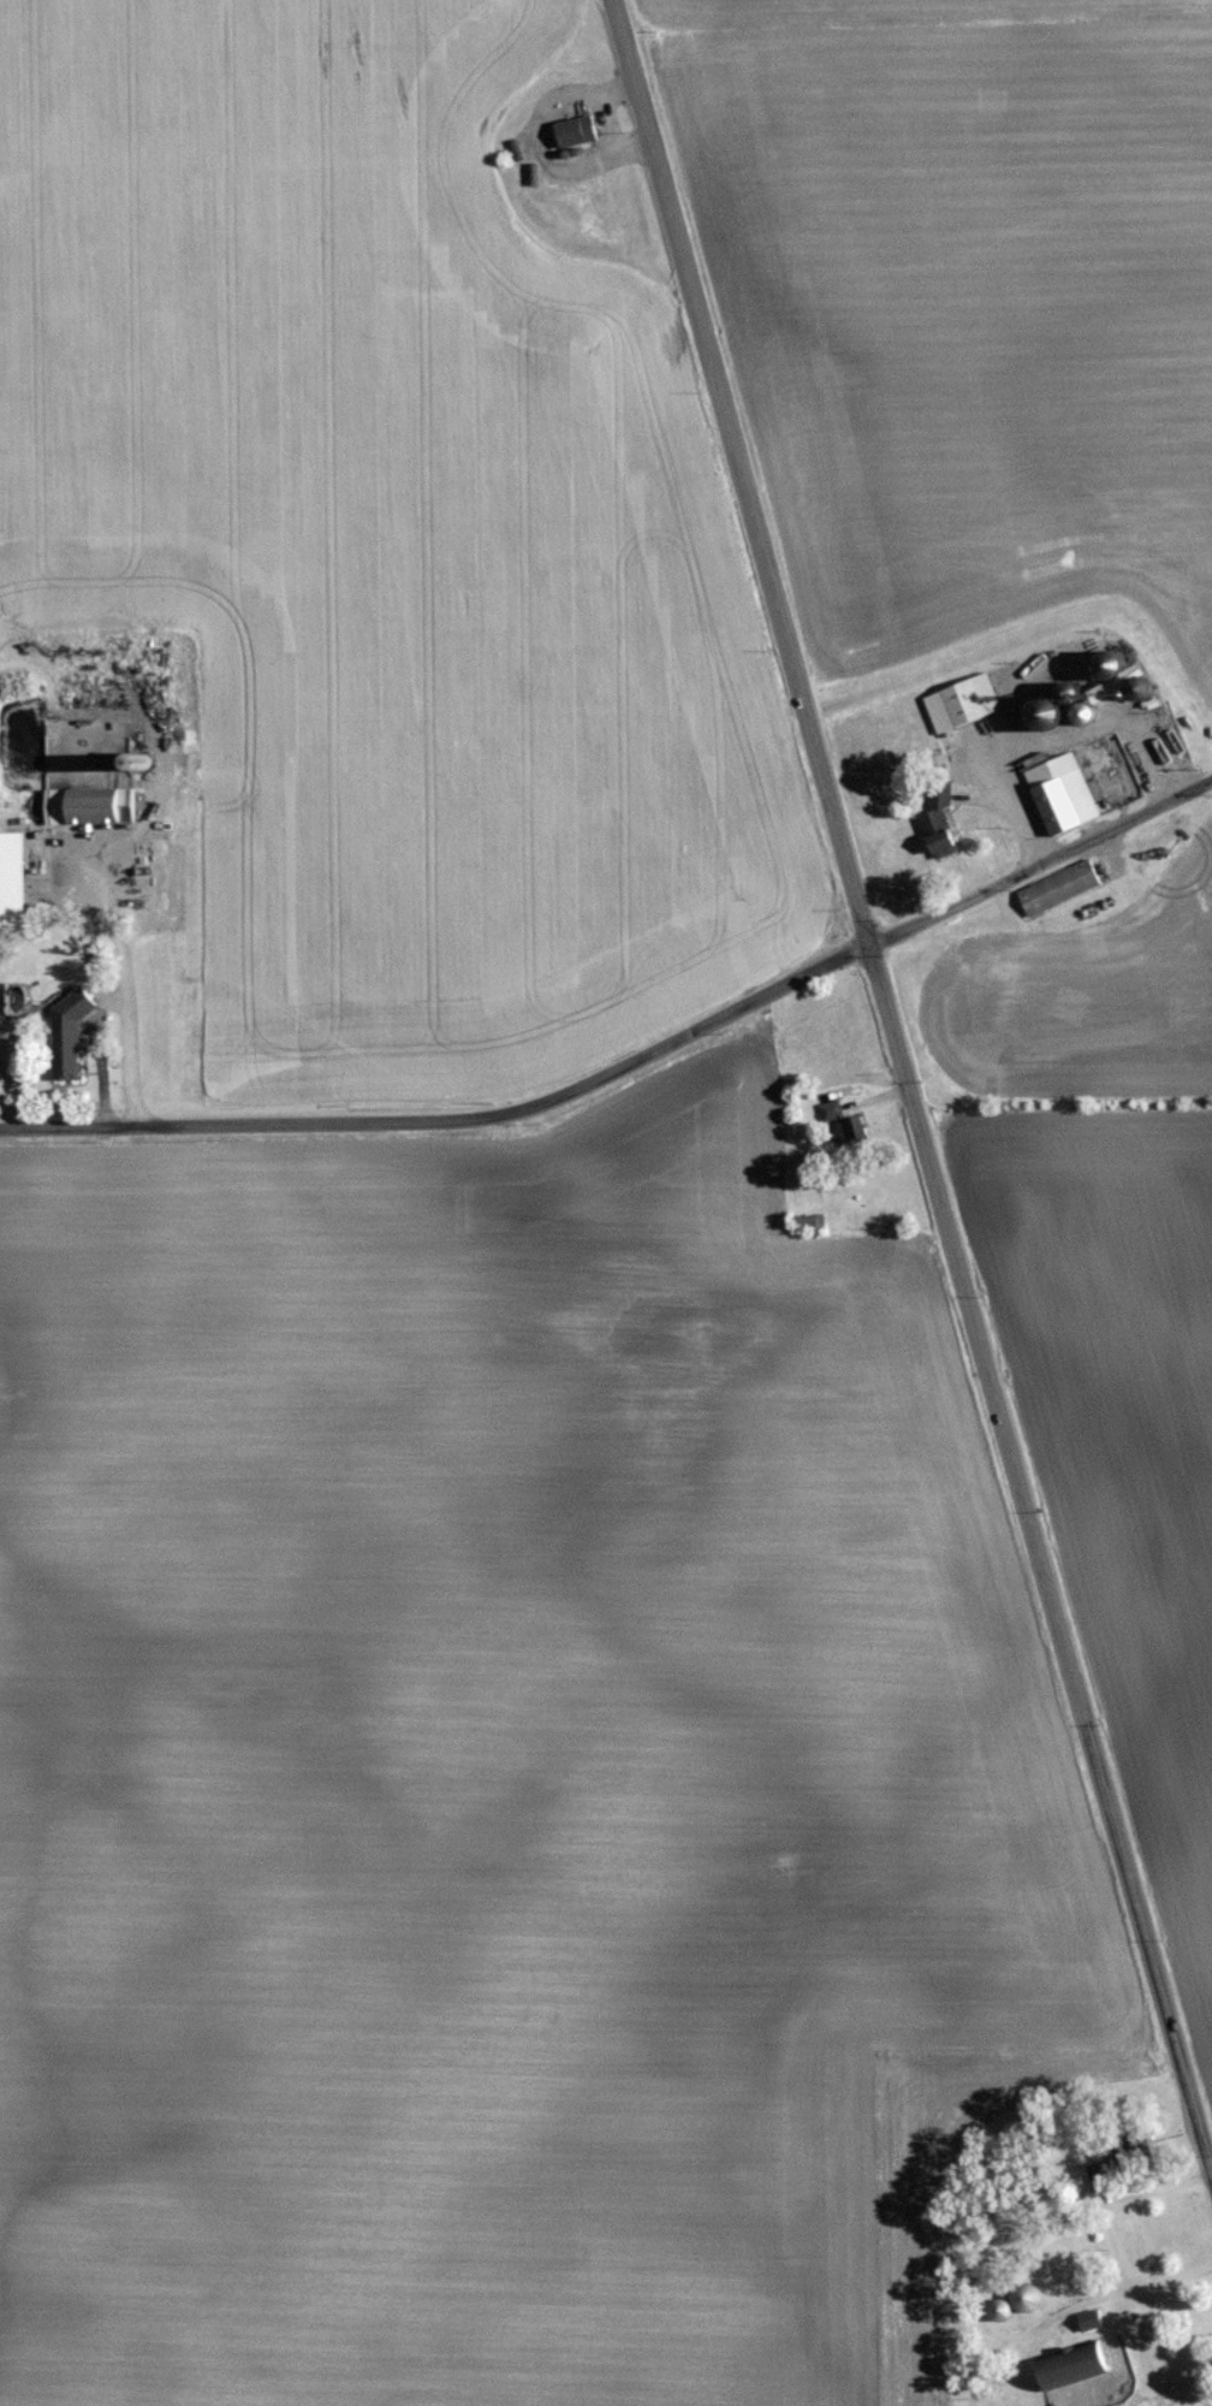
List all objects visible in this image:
building: (577, 130)
building: (966, 704)
building: (1065, 793)
building: (94, 805)
building: (943, 823)
road: (1039, 863)
building: (16, 884)
building: (1060, 887)
building: (72, 1035)
road: (650, 1053)
road: (905, 1083)
road: (212, 1124)
building: (846, 1126)
building: (812, 1222)
road: (1109, 2226)
building: (1024, 2301)
building: (1092, 2321)
building: (1076, 2366)

